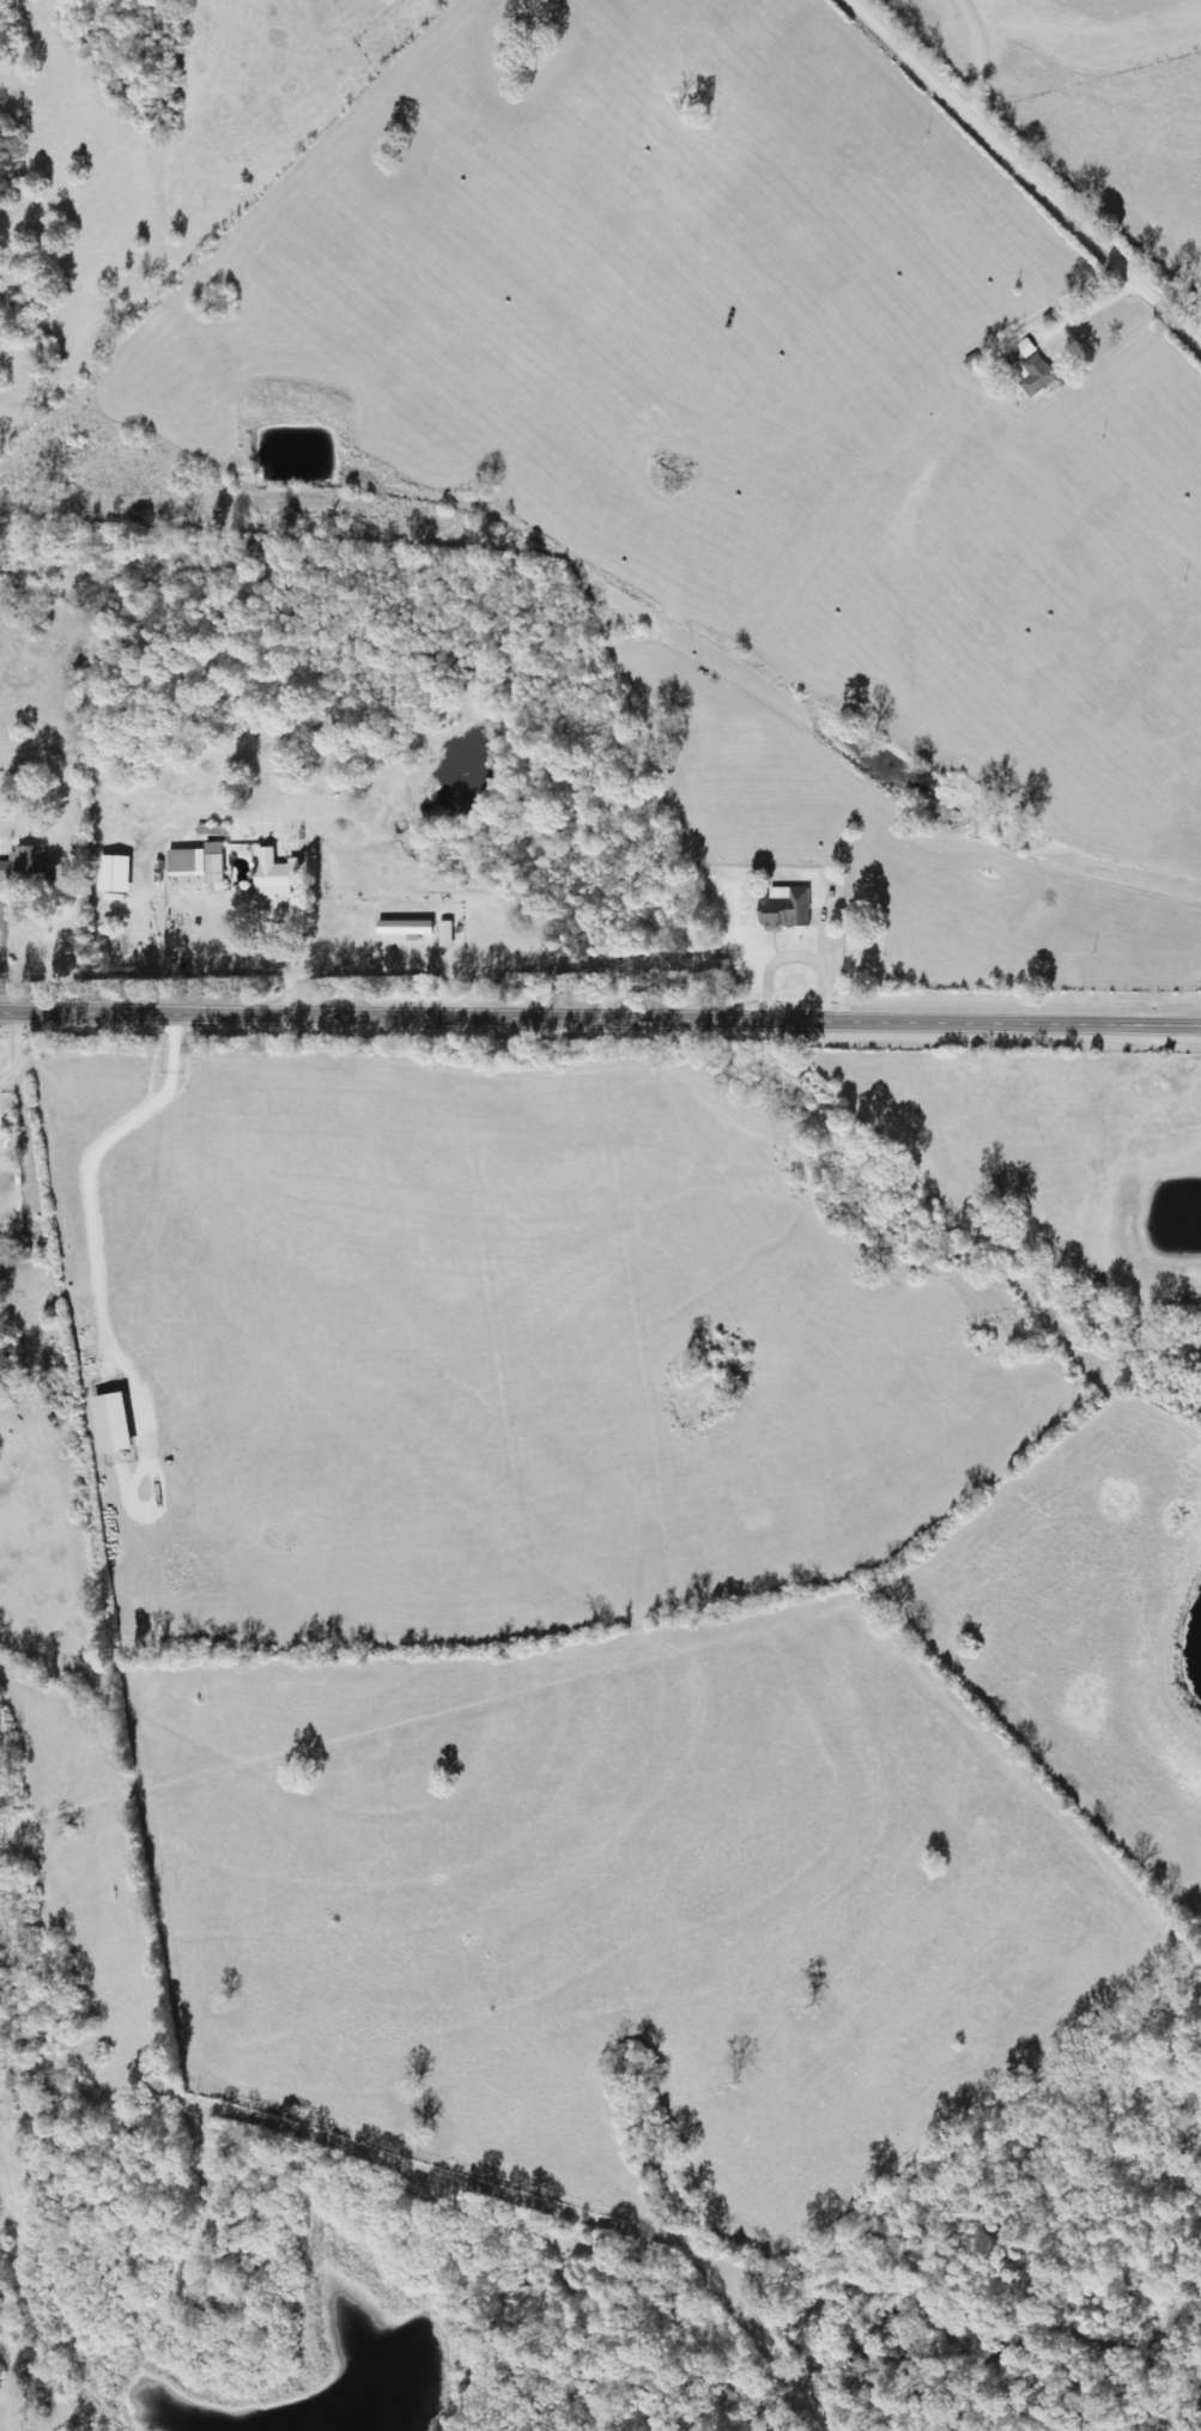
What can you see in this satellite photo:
road: (1017, 172)
building: (1027, 348)
building: (1038, 375)
building: (200, 862)
building: (28, 867)
building: (274, 873)
building: (116, 874)
building: (787, 908)
building: (407, 928)
building: (447, 934)
road: (600, 1019)
building: (115, 1424)

